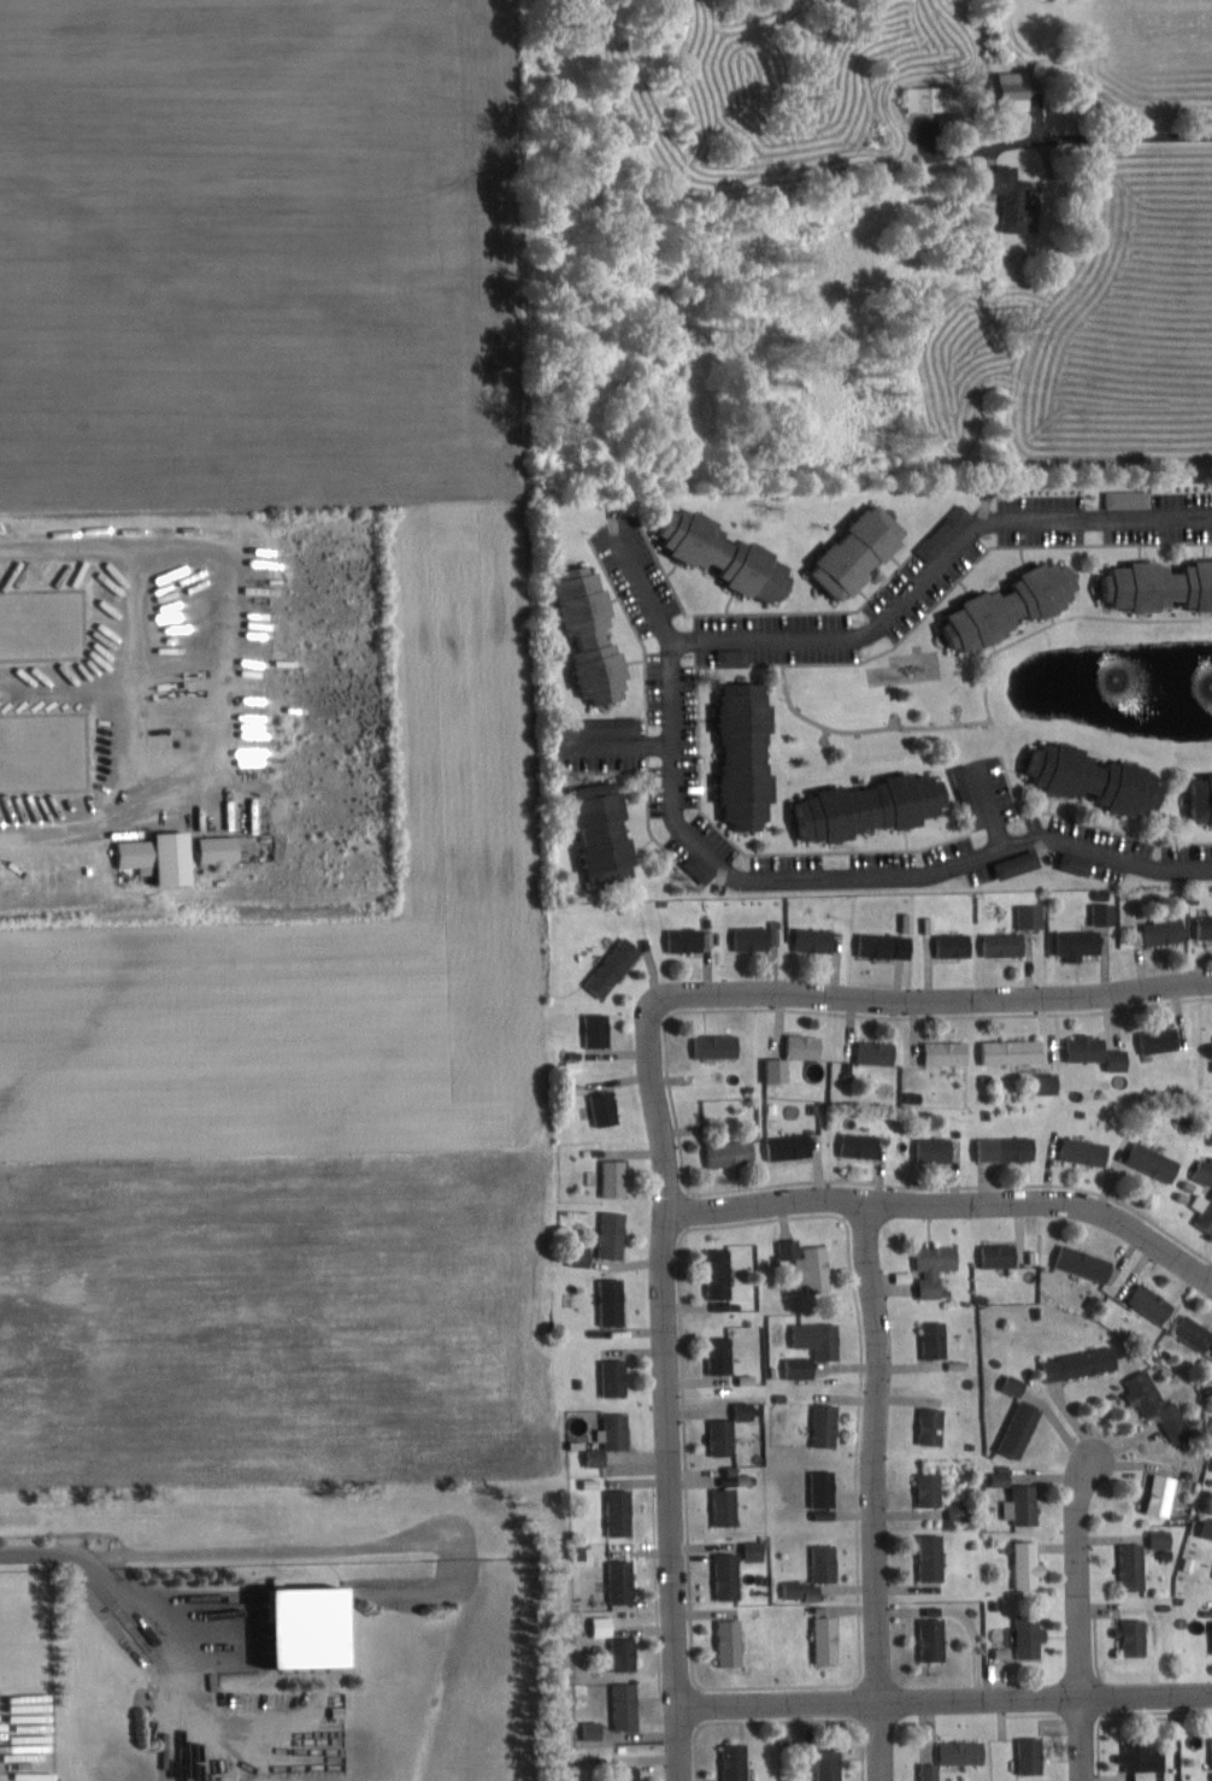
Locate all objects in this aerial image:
building: (1019, 92)
building: (934, 99)
road: (1134, 136)
building: (1132, 499)
building: (948, 533)
building: (863, 551)
building: (731, 554)
road: (941, 569)
building: (1161, 584)
road: (647, 589)
building: (1014, 606)
building: (596, 634)
building: (736, 657)
building: (613, 727)
building: (751, 753)
building: (1100, 777)
building: (973, 797)
building: (1202, 797)
building: (873, 806)
building: (610, 831)
building: (223, 848)
building: (141, 854)
building: (177, 857)
building: (1078, 863)
building: (1022, 864)
building: (704, 868)
road: (852, 882)
building: (1106, 913)
building: (1034, 916)
building: (1205, 927)
building: (1167, 931)
building: (759, 937)
building: (689, 939)
building: (818, 940)
building: (1007, 944)
building: (1081, 944)
building: (882, 945)
building: (958, 945)
building: (617, 966)
building: (600, 1029)
building: (1163, 1040)
building: (719, 1045)
building: (808, 1046)
building: (1089, 1048)
building: (1014, 1051)
building: (879, 1052)
building: (949, 1052)
building: (1120, 1059)
building: (781, 1069)
building: (607, 1107)
road: (661, 1113)
building: (864, 1145)
building: (793, 1146)
building: (1010, 1148)
building: (937, 1150)
building: (1088, 1151)
building: (735, 1153)
building: (1157, 1160)
building: (1205, 1171)
building: (618, 1177)
road: (951, 1201)
building: (616, 1234)
building: (584, 1254)
building: (1002, 1256)
building: (1088, 1263)
building: (812, 1264)
building: (939, 1268)
building: (723, 1272)
building: (616, 1301)
building: (1155, 1303)
building: (1196, 1332)
building: (822, 1339)
building: (939, 1339)
building: (723, 1354)
building: (1084, 1363)
building: (802, 1368)
building: (618, 1377)
building: (1017, 1385)
building: (1161, 1405)
building: (749, 1411)
building: (829, 1424)
building: (936, 1426)
building: (1023, 1428)
building: (620, 1430)
building: (726, 1436)
building: (599, 1457)
building: (1005, 1479)
building: (736, 1480)
building: (934, 1489)
road: (877, 1492)
building: (826, 1494)
building: (1165, 1494)
building: (1025, 1505)
building: (728, 1506)
building: (622, 1512)
building: (1208, 1527)
building: (1166, 1539)
building: (757, 1551)
road: (216, 1554)
building: (935, 1557)
building: (829, 1563)
building: (1030, 1564)
building: (1136, 1567)
building: (731, 1575)
road: (1078, 1577)
building: (624, 1581)
building: (805, 1591)
building: (606, 1626)
building: (317, 1628)
building: (1032, 1636)
building: (1137, 1636)
building: (830, 1639)
building: (936, 1639)
building: (733, 1642)
building: (626, 1653)
building: (1006, 1653)
road: (946, 1700)
building: (629, 1705)
building: (596, 1729)
road: (1085, 1739)
building: (966, 1752)
building: (1034, 1756)
building: (1146, 1759)
building: (737, 1762)
building: (831, 1763)
building: (934, 1771)
building: (633, 1773)

